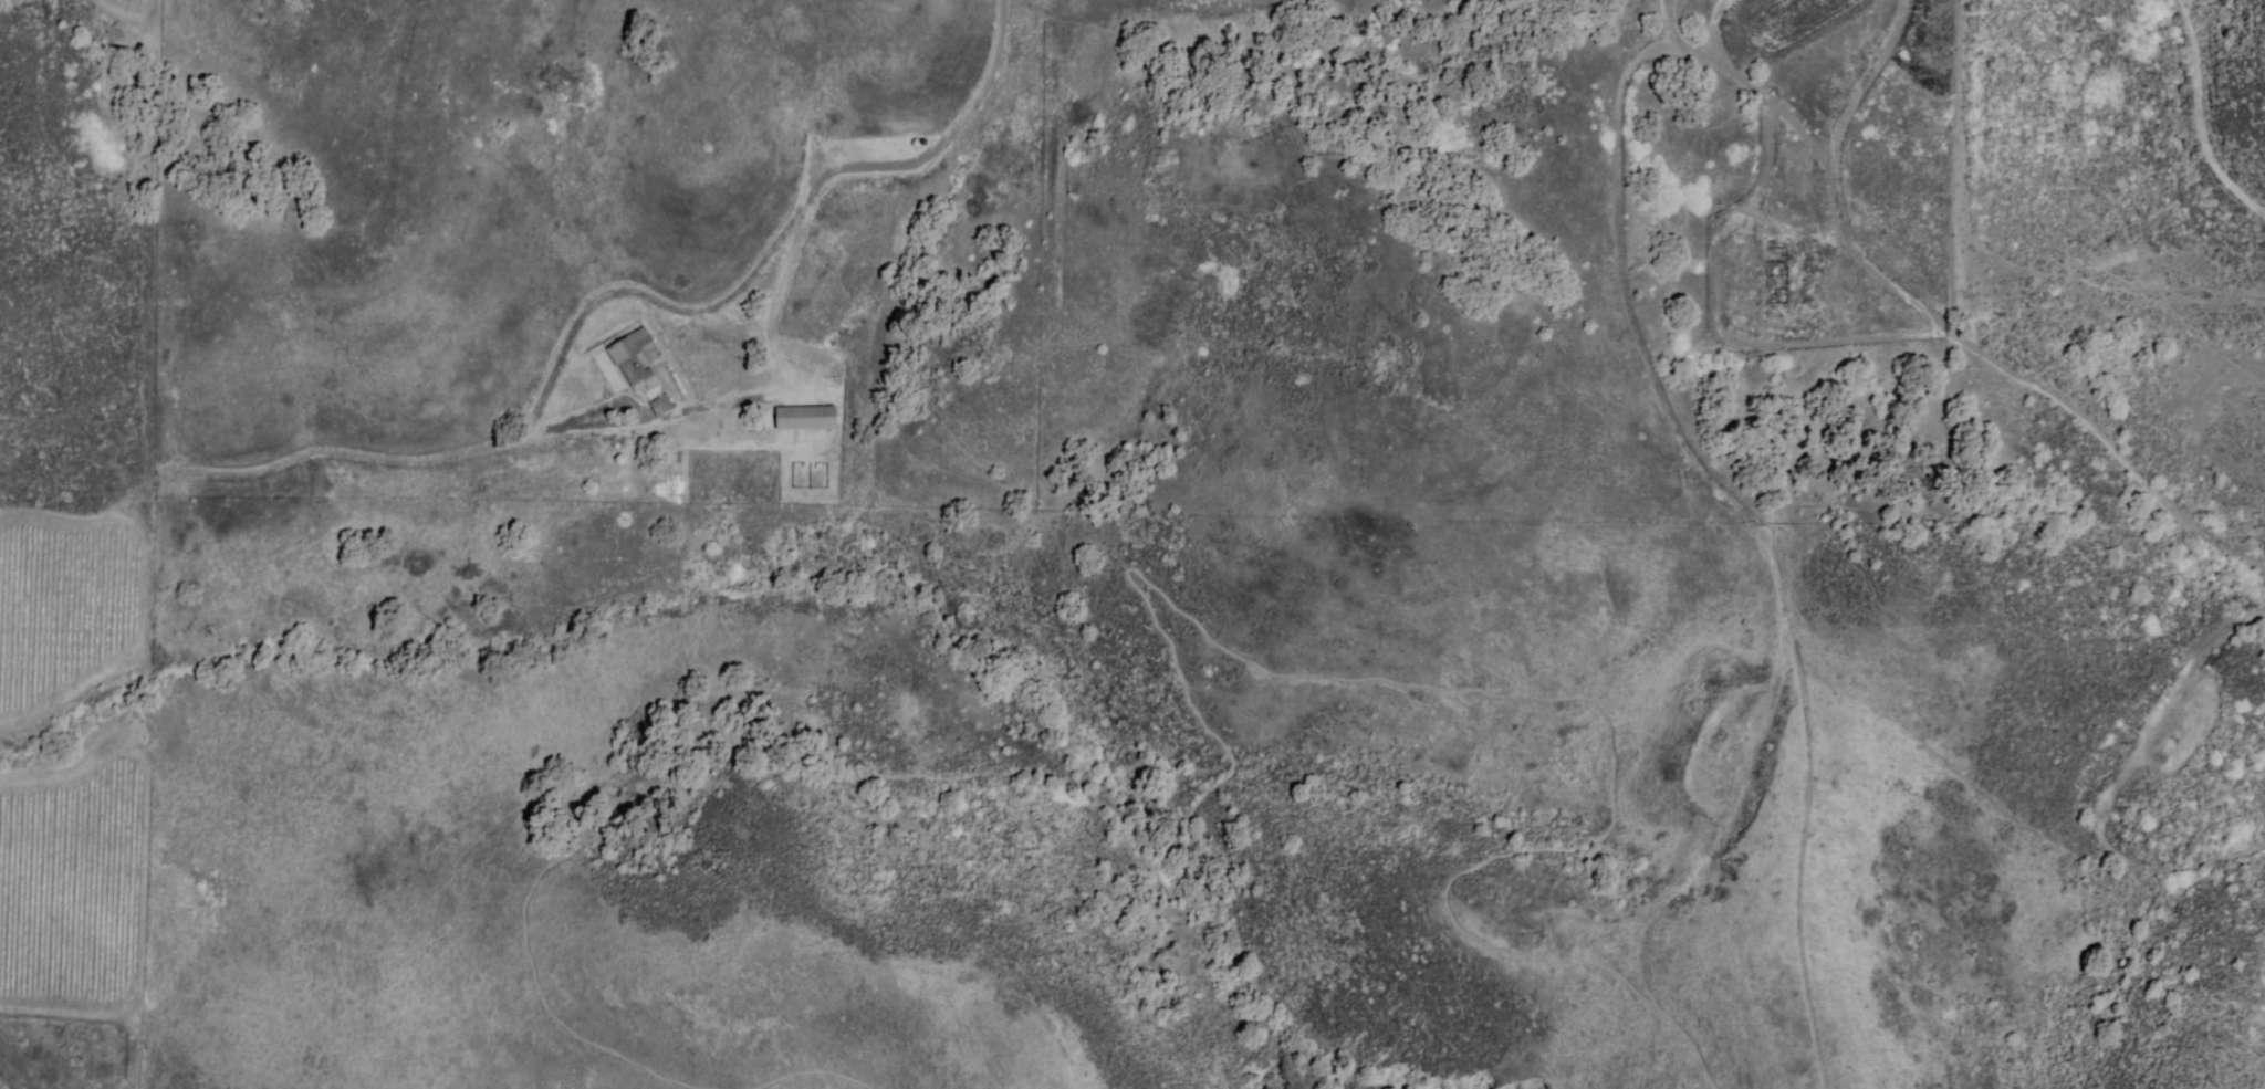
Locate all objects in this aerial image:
road: (1824, 82)
road: (2206, 113)
road: (1835, 176)
road: (578, 328)
road: (1887, 334)
building: (629, 356)
building: (660, 404)
building: (803, 417)
road: (2116, 781)

